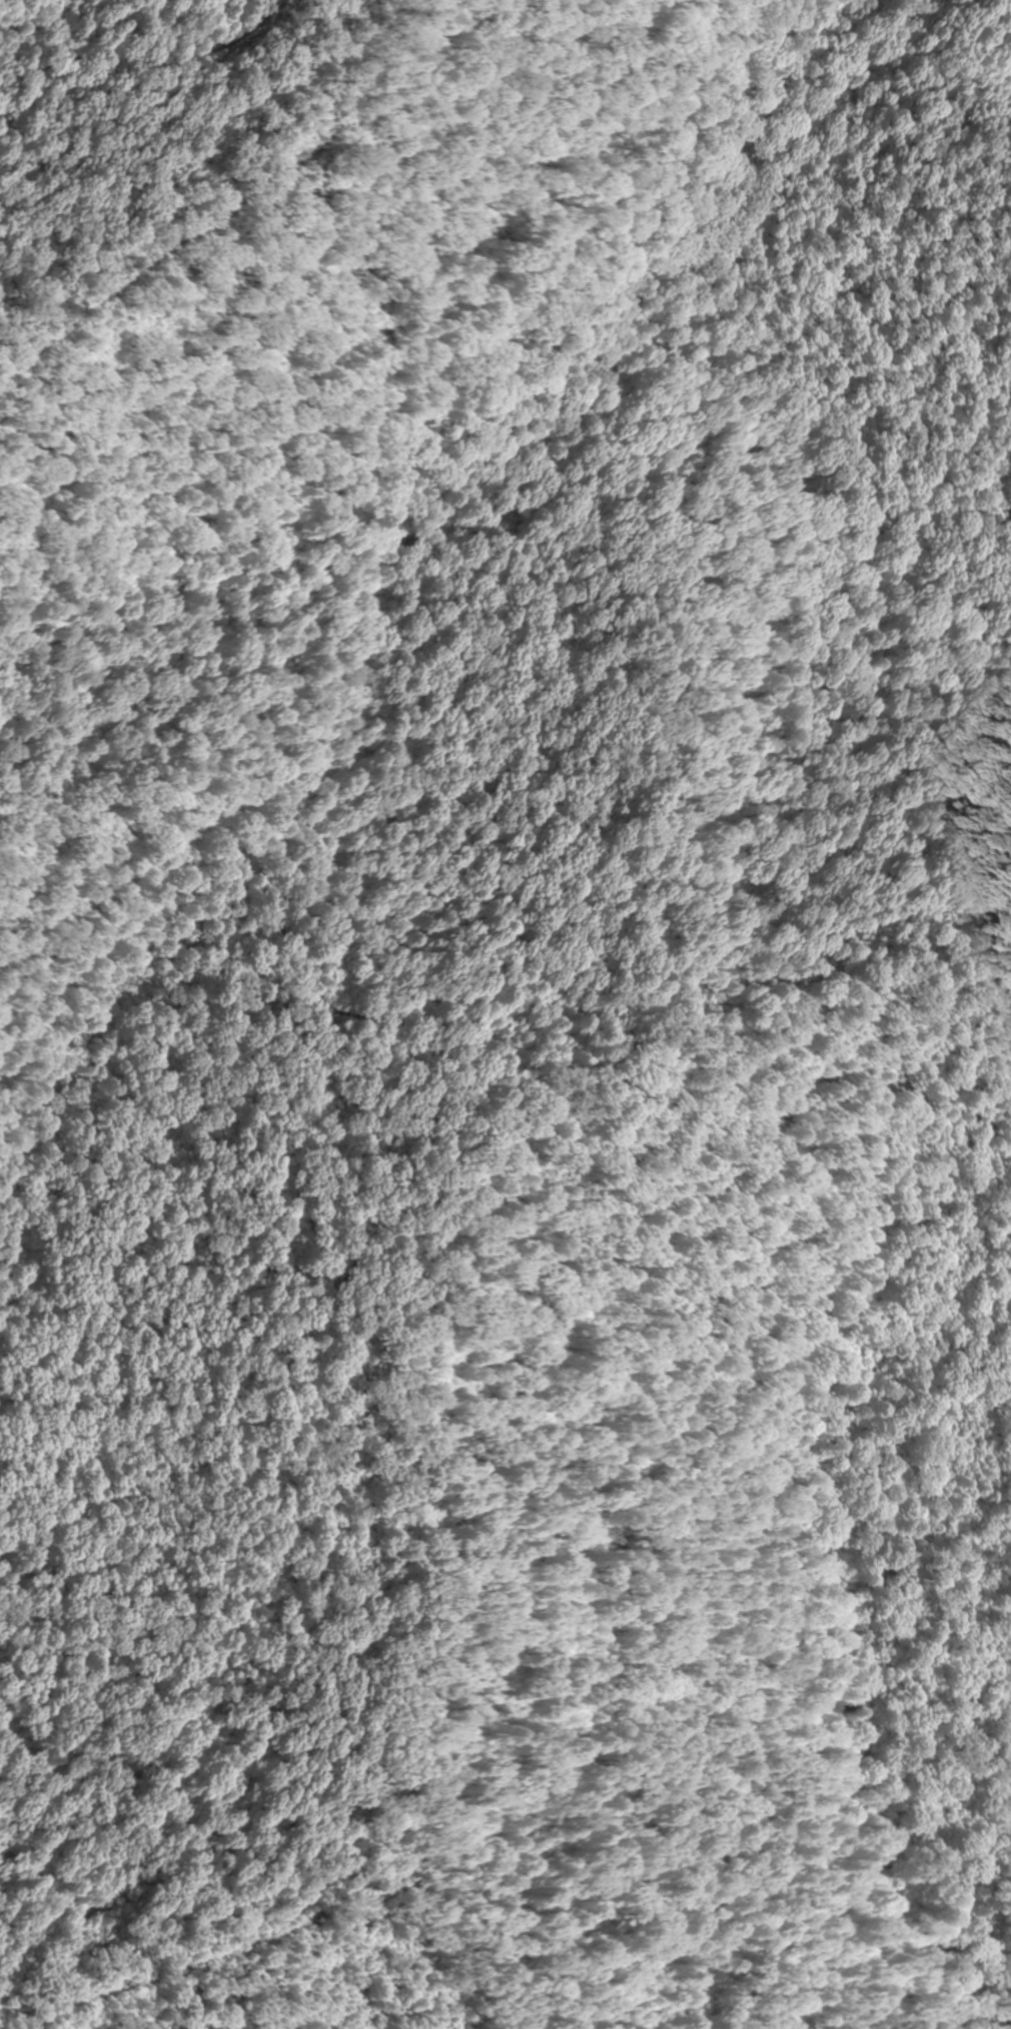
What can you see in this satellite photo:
road: (466, 1297)

